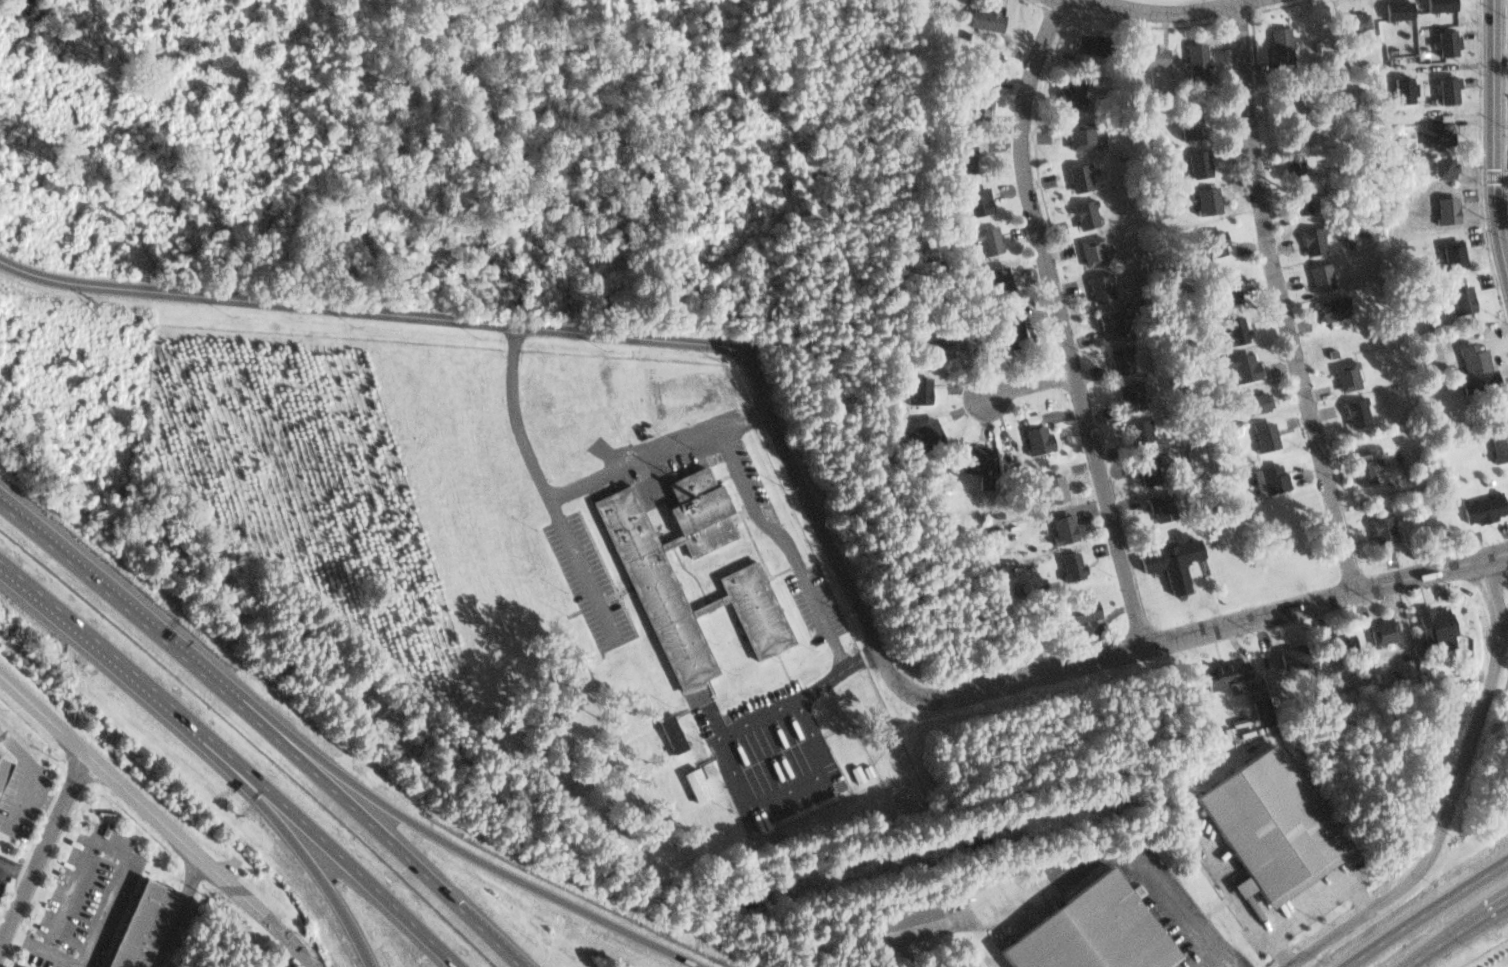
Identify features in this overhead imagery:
building: (1434, 4)
building: (1392, 8)
road: (1169, 10)
building: (980, 18)
building: (1353, 21)
building: (1277, 35)
building: (1443, 40)
building: (1086, 43)
building: (1145, 54)
building: (1194, 61)
building: (982, 67)
building: (1401, 86)
building: (1441, 87)
building: (1067, 89)
building: (968, 100)
building: (1184, 124)
building: (1430, 133)
building: (1077, 134)
road: (1487, 143)
building: (960, 158)
building: (1191, 158)
building: (1200, 165)
building: (1288, 166)
building: (1440, 167)
building: (1295, 170)
building: (1075, 173)
building: (1200, 196)
building: (973, 200)
building: (1209, 201)
building: (1295, 203)
building: (1080, 210)
building: (1442, 210)
building: (1307, 237)
building: (980, 238)
building: (1210, 241)
building: (1089, 250)
building: (1448, 252)
building: (1317, 277)
building: (993, 279)
building: (1222, 283)
building: (1098, 286)
building: (1229, 291)
building: (1458, 297)
road: (1281, 300)
building: (1325, 309)
road: (363, 310)
road: (1062, 323)
building: (1106, 323)
building: (1002, 325)
building: (1231, 326)
building: (935, 341)
building: (947, 346)
building: (1119, 356)
building: (1469, 360)
building: (1241, 364)
building: (1341, 374)
building: (916, 384)
road: (1026, 389)
building: (1124, 392)
building: (1254, 398)
building: (1350, 410)
building: (1133, 431)
building: (924, 433)
building: (1033, 436)
building: (1266, 437)
building: (1498, 443)
building: (974, 460)
building: (1143, 467)
building: (1359, 468)
building: (1265, 478)
building: (1049, 487)
road: (553, 489)
building: (1158, 505)
building: (1477, 507)
building: (1059, 525)
building: (1380, 525)
building: (990, 532)
road: (781, 535)
building: (999, 555)
building: (1067, 561)
building: (1164, 564)
building: (641, 567)
building: (1075, 611)
building: (1428, 624)
building: (1381, 630)
building: (1337, 641)
building: (1285, 656)
building: (1223, 671)
road: (1012, 679)
building: (1255, 690)
road: (265, 726)
building: (1246, 728)
building: (673, 734)
road: (234, 757)
building: (4, 768)
road: (33, 773)
building: (697, 785)
road: (1452, 793)
road: (44, 801)
road: (160, 816)
building: (1273, 829)
road: (96, 839)
road: (45, 849)
road: (462, 852)
road: (305, 860)
road: (2, 866)
road: (17, 868)
road: (1365, 890)
road: (1180, 908)
road: (180, 912)
road: (1426, 913)
building: (897, 922)
building: (145, 923)
road: (1257, 926)
building: (1094, 930)
road: (1454, 933)
road: (24, 945)
road: (1276, 951)
road: (1218, 960)

